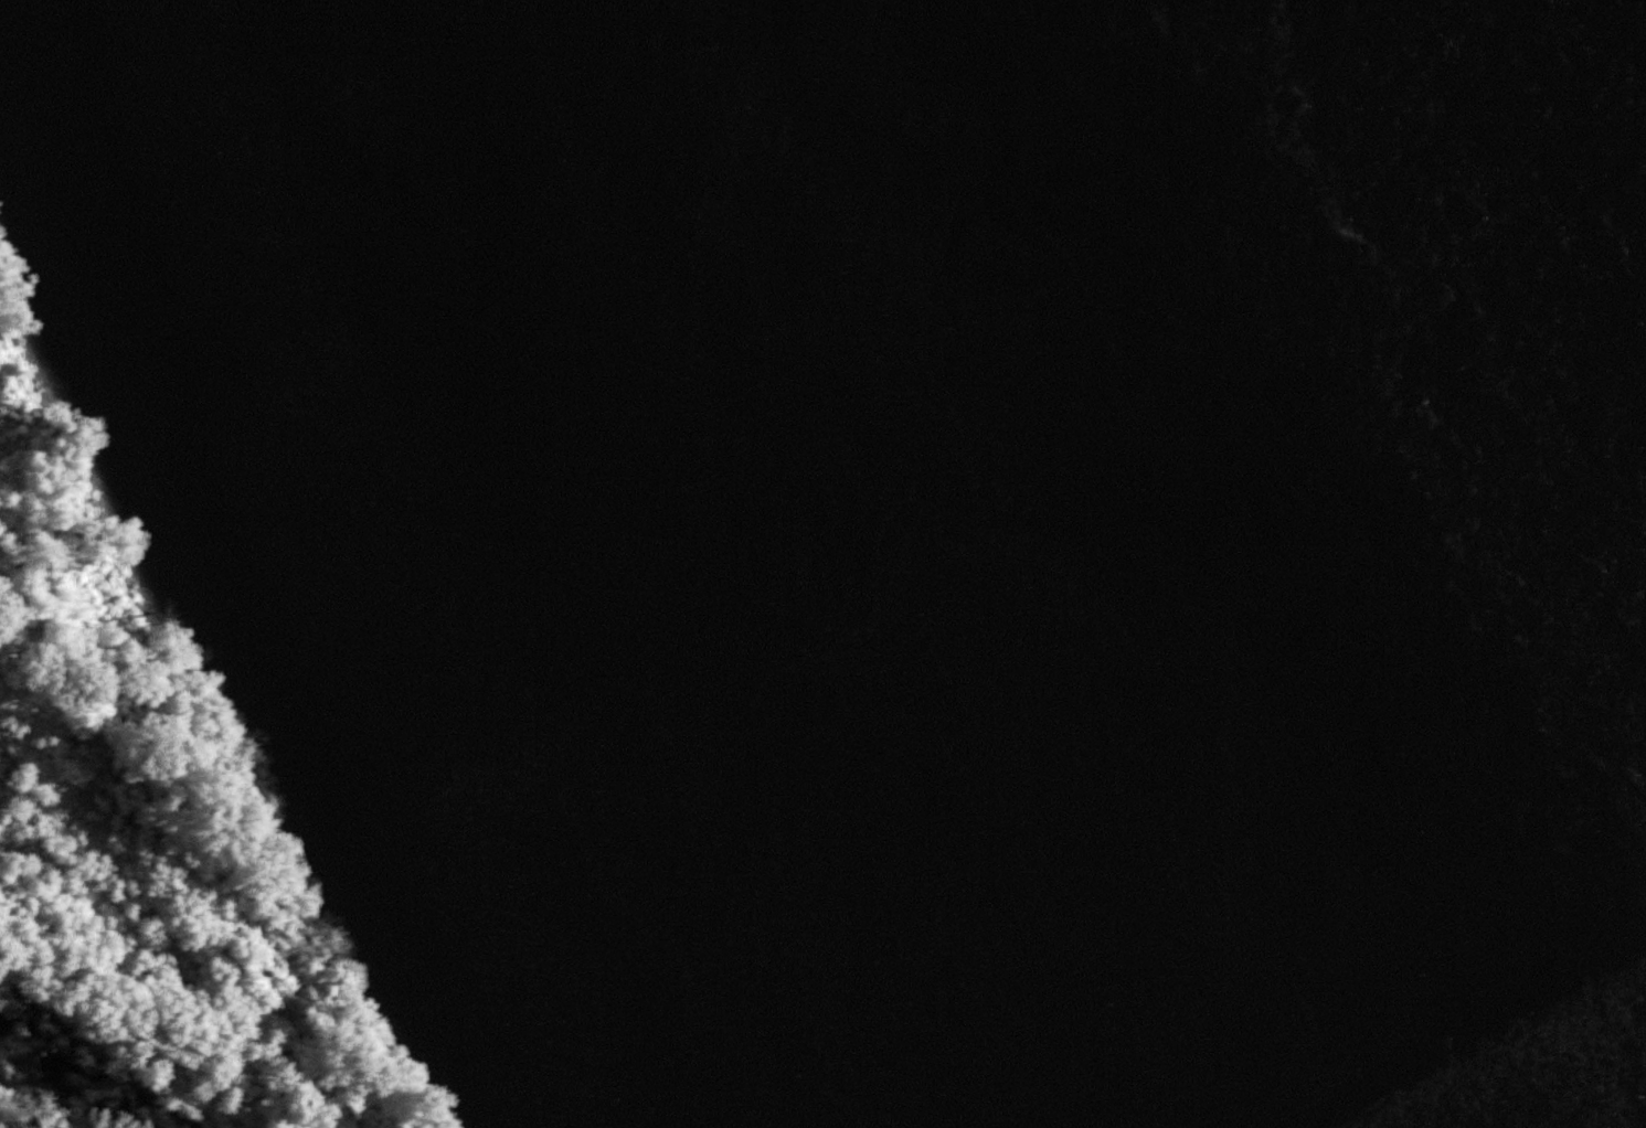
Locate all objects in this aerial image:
river: (1363, 389)

